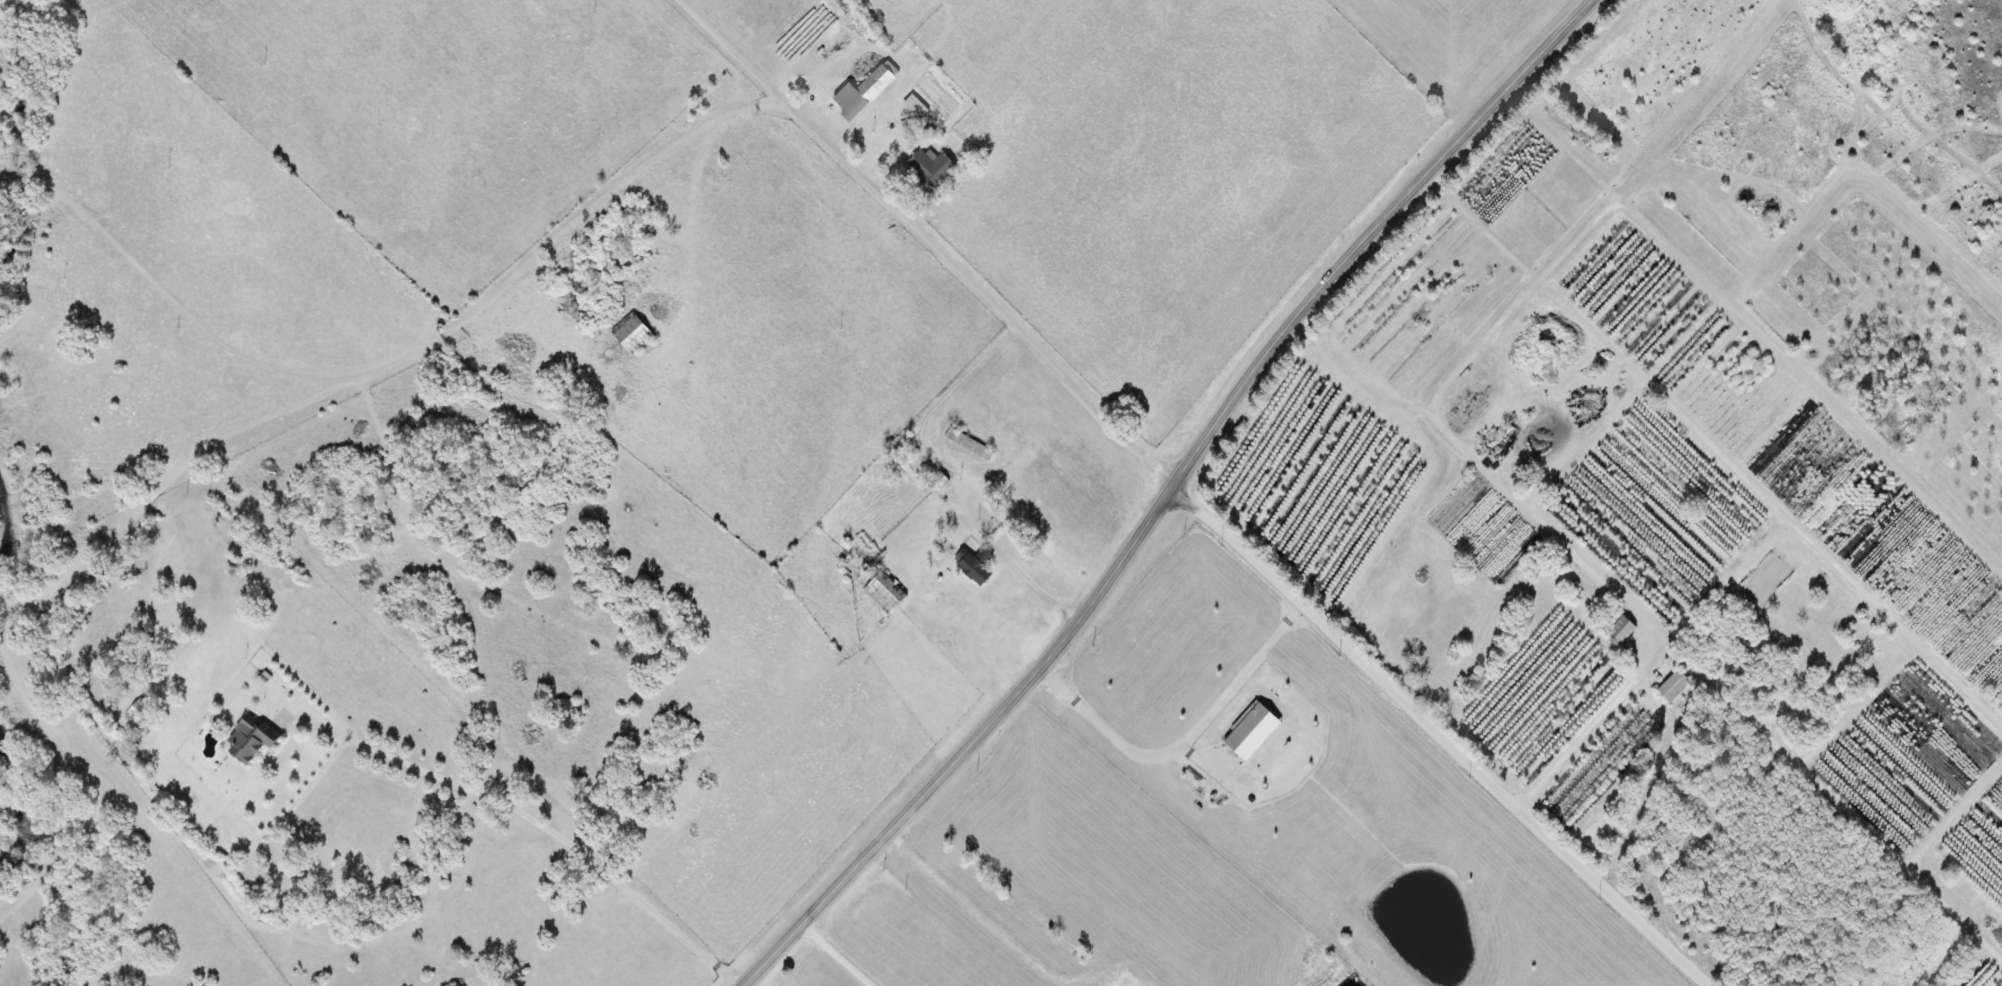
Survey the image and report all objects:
building: (860, 91)
building: (927, 167)
road: (925, 241)
road: (394, 358)
road: (1689, 437)
building: (931, 486)
road: (1163, 493)
building: (970, 565)
road: (1040, 587)
building: (879, 593)
building: (1617, 630)
building: (1669, 686)
road: (1590, 728)
road: (1438, 735)
building: (246, 739)
road: (1831, 797)

